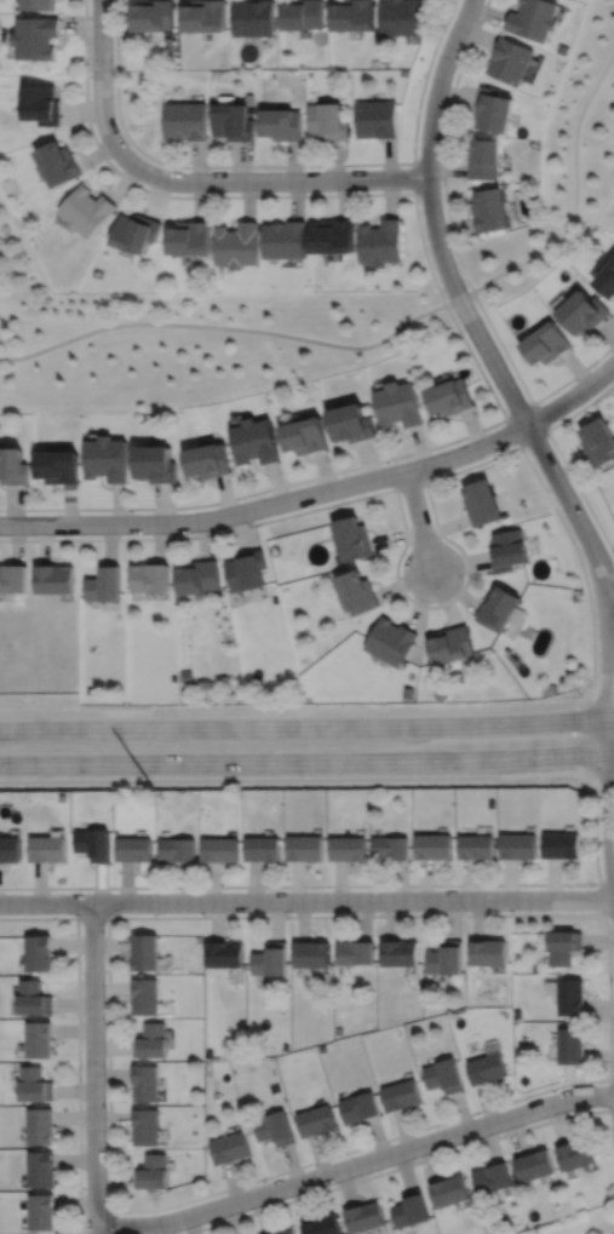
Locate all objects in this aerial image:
building: (39, 4)
building: (153, 13)
building: (303, 16)
building: (354, 16)
building: (203, 17)
building: (401, 17)
building: (253, 18)
building: (535, 19)
building: (35, 34)
building: (384, 57)
building: (511, 61)
street lamp: (455, 67)
street lamp: (113, 68)
building: (403, 71)
road: (102, 81)
building: (41, 102)
building: (494, 108)
building: (378, 117)
building: (185, 119)
building: (329, 119)
building: (233, 120)
building: (282, 121)
building: (484, 157)
building: (58, 161)
road: (281, 165)
street lamp: (210, 168)
park: (558, 170)
road: (414, 177)
road: (274, 180)
street lamp: (355, 191)
street lamp: (420, 200)
road: (575, 201)
building: (488, 207)
building: (87, 210)
building: (136, 230)
building: (334, 235)
building: (190, 236)
building: (286, 239)
building: (383, 241)
building: (239, 243)
road: (458, 256)
building: (604, 274)
road: (465, 309)
building: (580, 310)
road: (455, 325)
road: (233, 327)
street lamp: (463, 329)
park: (185, 338)
building: (544, 341)
street lamp: (596, 362)
building: (447, 395)
road: (572, 395)
road: (532, 403)
building: (397, 404)
building: (352, 423)
building: (306, 435)
building: (256, 441)
building: (598, 441)
street lamp: (524, 448)
road: (561, 455)
building: (107, 458)
building: (208, 460)
building: (156, 464)
building: (12, 466)
building: (57, 466)
street lamp: (429, 476)
road: (411, 484)
street lamp: (291, 487)
building: (480, 501)
road: (269, 505)
road: (419, 518)
street lamp: (173, 534)
street lamp: (34, 535)
building: (352, 538)
building: (506, 549)
street lamp: (403, 555)
building: (247, 570)
building: (149, 578)
building: (197, 578)
building: (12, 579)
building: (52, 579)
building: (103, 585)
building: (357, 593)
road: (612, 596)
road: (612, 598)
road: (425, 604)
building: (497, 608)
building: (389, 641)
building: (449, 644)
road: (609, 670)
building: (549, 689)
building: (407, 693)
street lamp: (580, 694)
road: (308, 710)
road: (306, 725)
road: (306, 759)
road: (602, 777)
street lamp: (598, 794)
road: (607, 809)
road: (596, 834)
building: (93, 844)
building: (431, 846)
building: (517, 846)
building: (560, 846)
building: (263, 848)
building: (474, 848)
building: (220, 849)
building: (305, 849)
building: (345, 849)
building: (389, 849)
building: (10, 850)
building: (47, 850)
building: (177, 850)
building: (134, 851)
street lamp: (592, 885)
road: (601, 897)
road: (306, 900)
street lamp: (465, 912)
street lamp: (203, 913)
street lamp: (334, 913)
road: (92, 917)
street lamp: (80, 924)
building: (563, 943)
building: (145, 949)
building: (354, 949)
building: (487, 949)
building: (38, 951)
building: (397, 951)
building: (224, 952)
building: (312, 952)
building: (443, 955)
building: (270, 958)
building: (144, 994)
building: (570, 995)
building: (33, 997)
road: (79, 1037)
building: (39, 1038)
building: (151, 1039)
building: (570, 1044)
street lamp: (82, 1061)
building: (484, 1066)
road: (92, 1068)
street lamp: (613, 1069)
building: (442, 1074)
building: (145, 1081)
building: (34, 1083)
building: (402, 1094)
road: (532, 1094)
road: (610, 1094)
street lamp: (515, 1102)
building: (360, 1106)
building: (317, 1119)
building: (39, 1124)
building: (145, 1126)
building: (275, 1127)
street lamp: (389, 1141)
building: (231, 1147)
building: (574, 1153)
road: (411, 1163)
road: (355, 1164)
building: (533, 1164)
building: (41, 1167)
building: (153, 1171)
building: (489, 1177)
street lamp: (266, 1180)
street lamp: (82, 1189)
building: (449, 1189)
building: (412, 1207)
building: (40, 1211)
building: (365, 1216)
road: (110, 1222)
building: (323, 1226)
building: (286, 1232)

